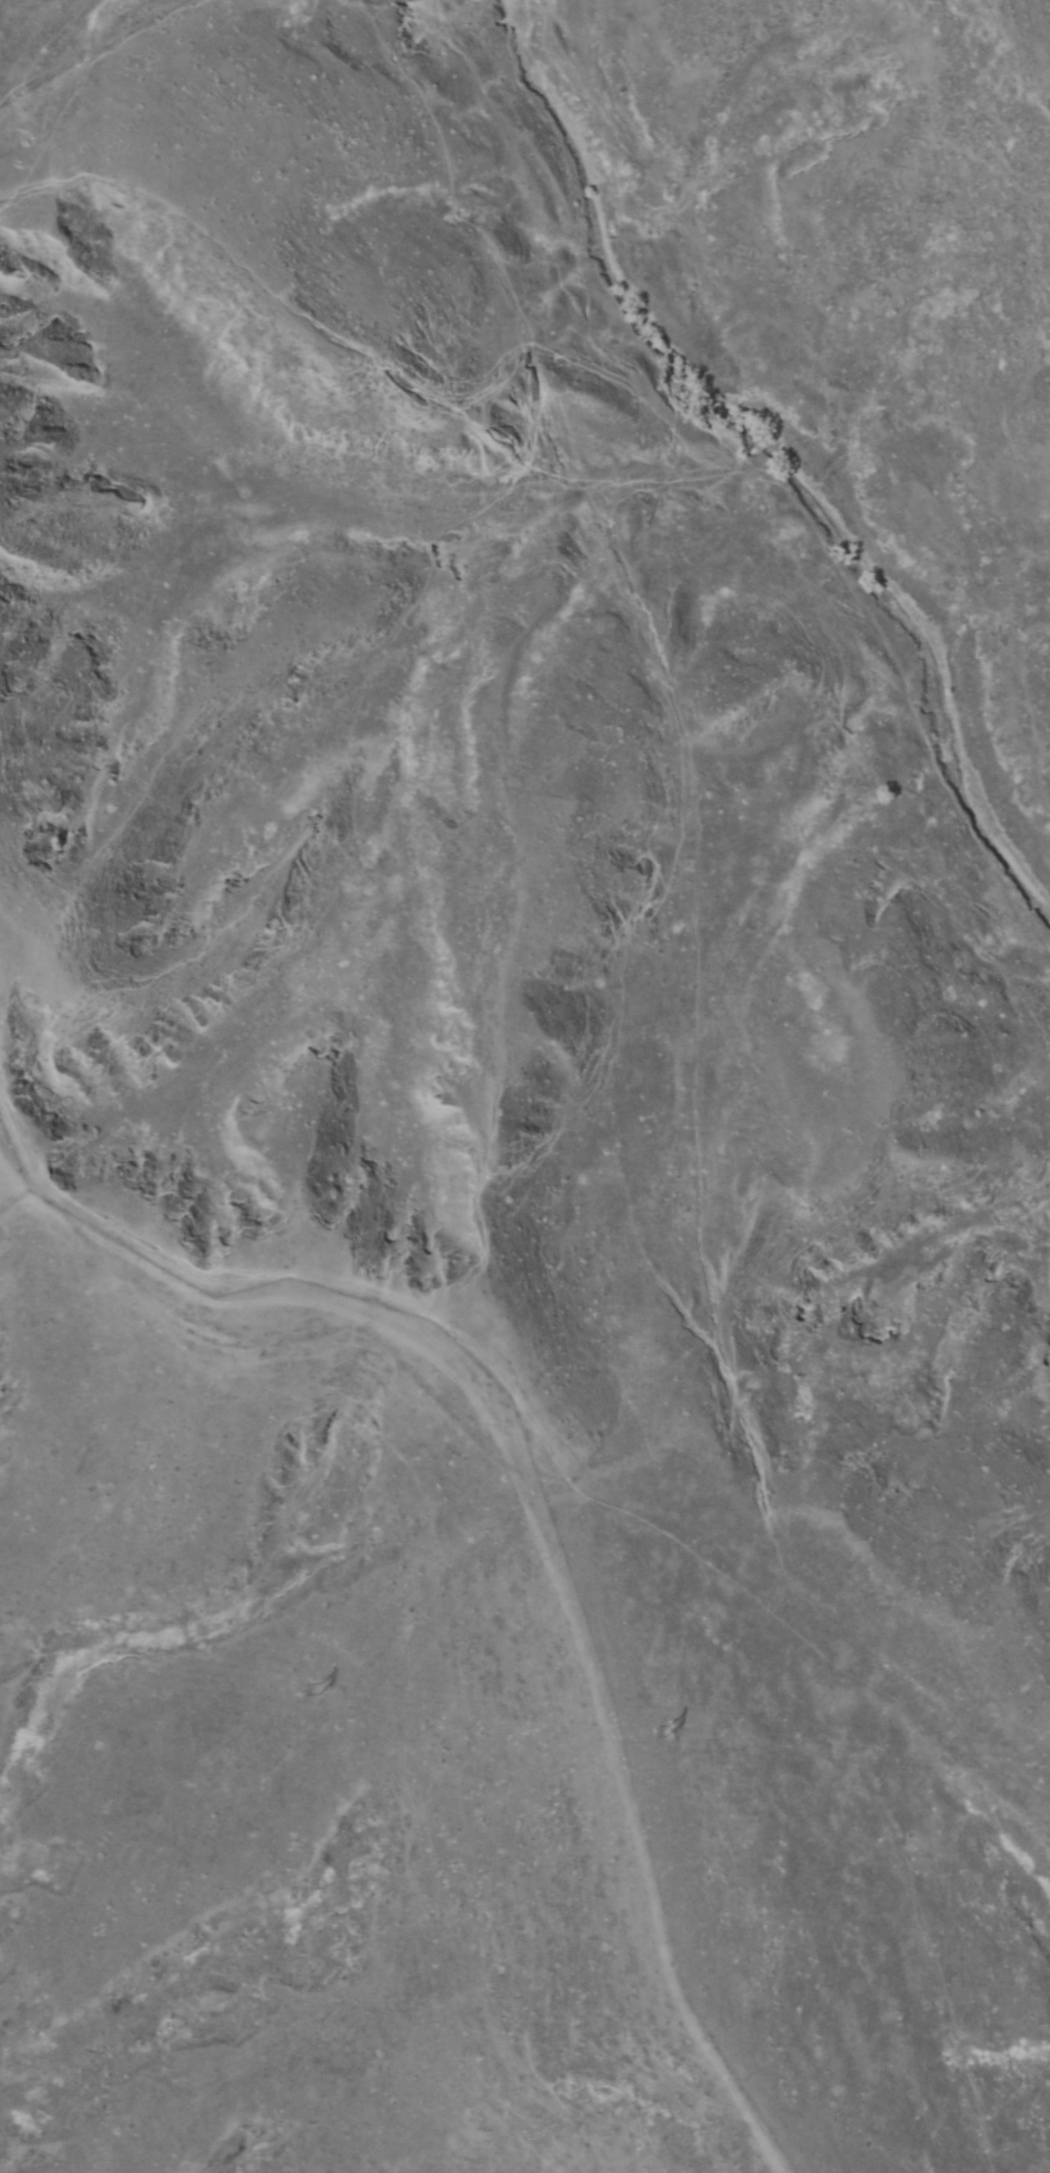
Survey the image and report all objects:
power tower: (321, 1690)
power tower: (669, 1732)

